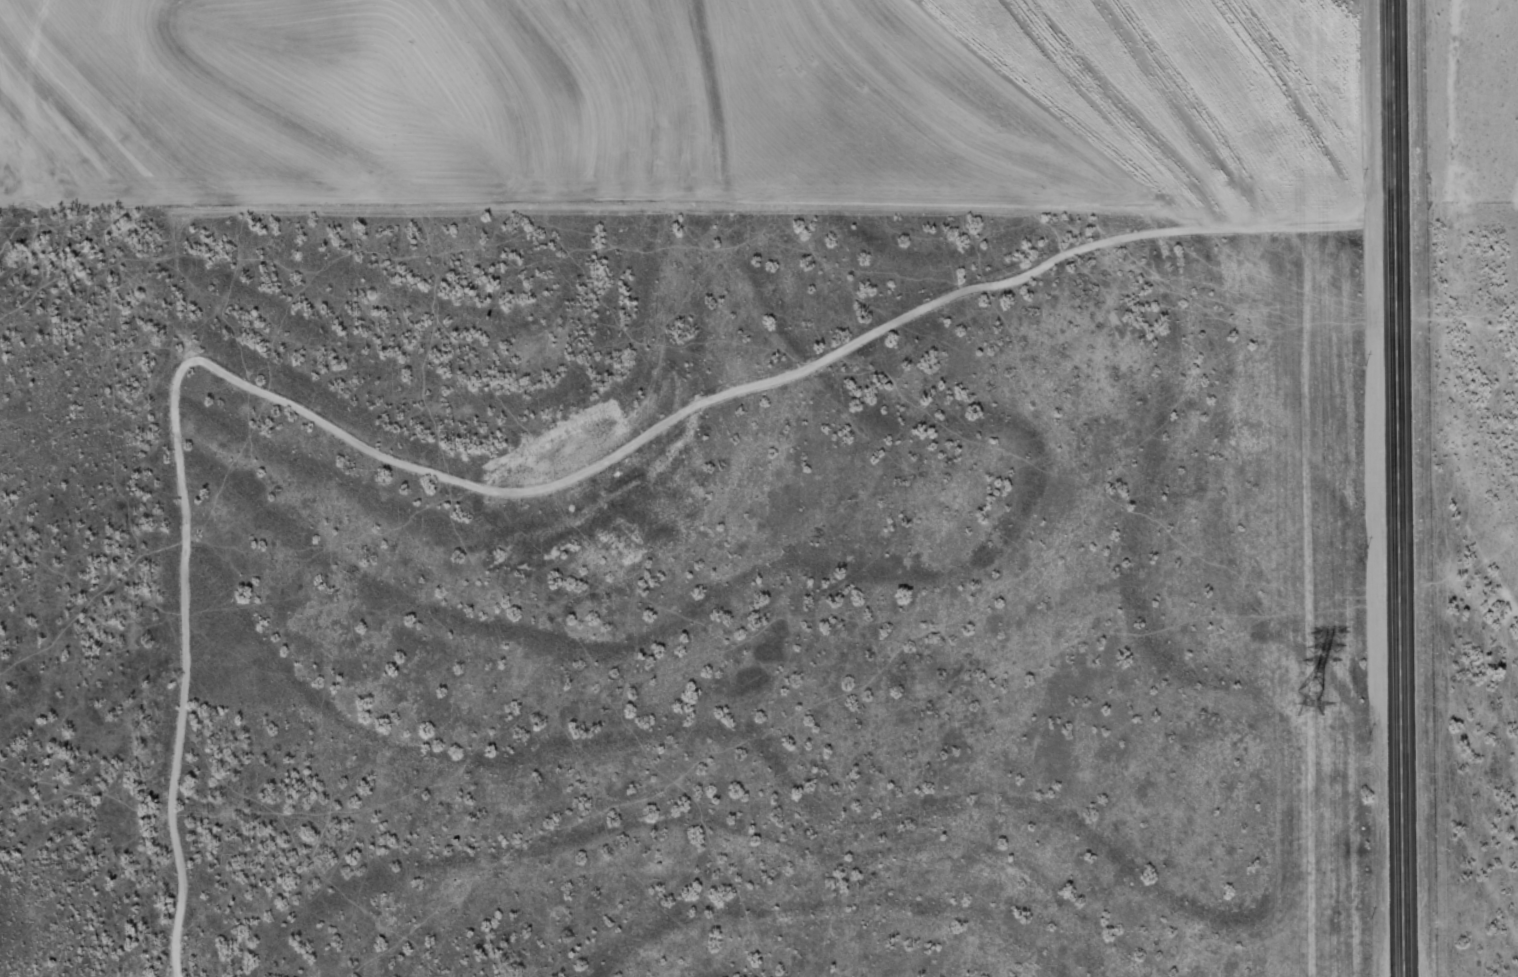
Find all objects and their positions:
road: (1401, 488)
power tower: (1308, 703)

